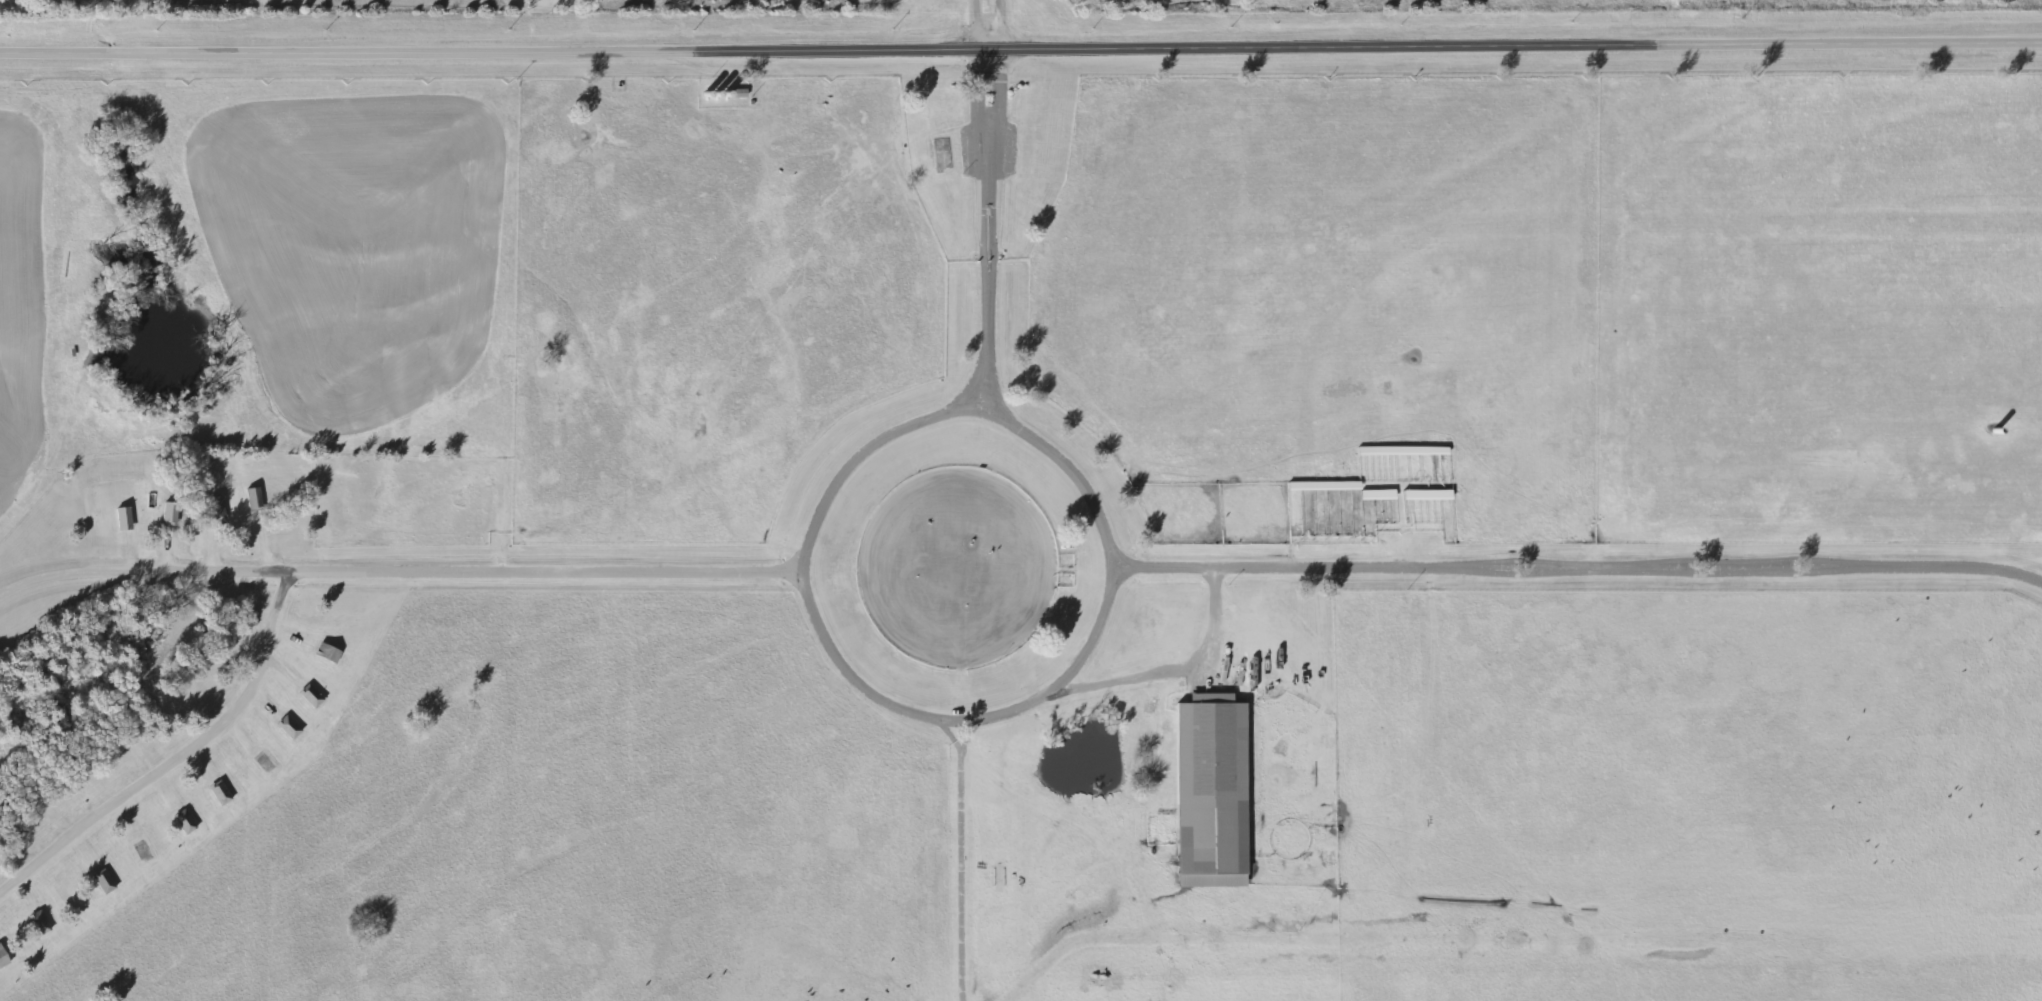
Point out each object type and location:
road: (977, 24)
road: (1006, 24)
road: (1020, 47)
road: (982, 228)
road: (961, 413)
building: (251, 499)
building: (214, 508)
building: (166, 514)
building: (120, 519)
road: (1580, 566)
road: (400, 571)
building: (325, 653)
road: (1179, 668)
building: (308, 696)
road: (964, 717)
building: (286, 727)
road: (182, 759)
building: (1208, 792)
building: (217, 793)
building: (181, 822)
road: (965, 859)
building: (999, 878)
building: (101, 881)
building: (35, 923)
building: (2, 959)

